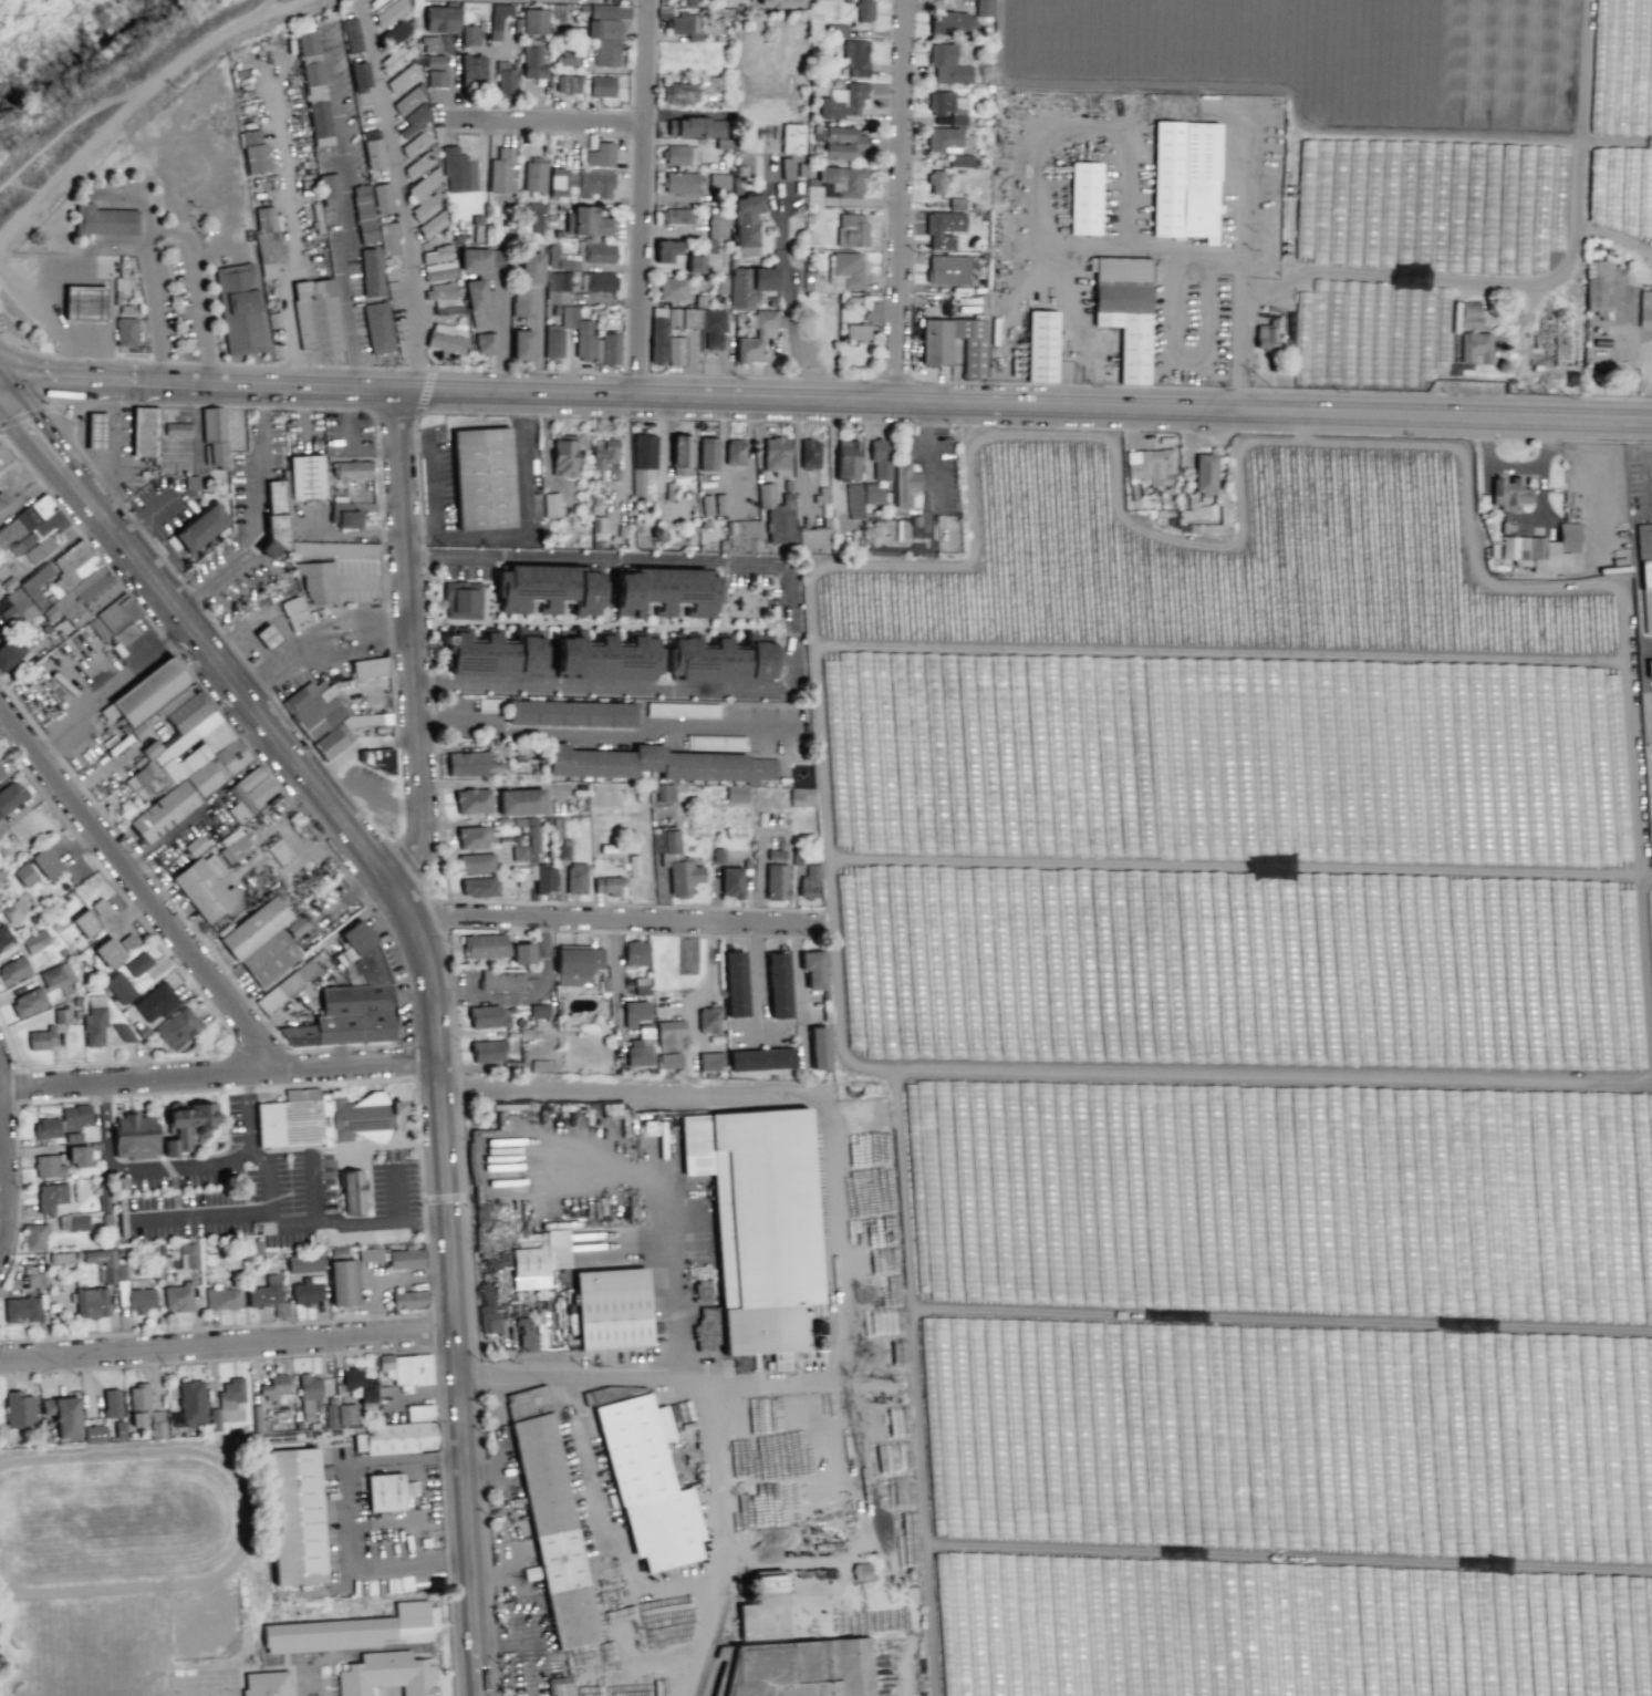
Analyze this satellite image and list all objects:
building: (376, 1)
building: (780, 2)
building: (984, 8)
building: (609, 10)
building: (864, 10)
park: (50, 11)
building: (389, 12)
building: (663, 12)
building: (441, 18)
building: (498, 19)
building: (534, 21)
building: (952, 22)
river: (28, 23)
building: (1622, 25)
building: (396, 32)
building: (352, 34)
building: (470, 34)
building: (605, 40)
building: (429, 43)
park: (3, 56)
building: (855, 56)
building: (397, 58)
building: (565, 58)
building: (533, 59)
building: (435, 61)
building: (947, 64)
building: (472, 70)
building: (360, 75)
building: (402, 77)
building: (436, 77)
building: (505, 80)
building: (568, 83)
building: (600, 86)
building: (709, 86)
building: (314, 87)
building: (678, 93)
building: (407, 101)
building: (844, 102)
building: (948, 106)
road: (536, 115)
crop: (1379, 118)
building: (414, 120)
building: (695, 126)
building: (792, 138)
building: (943, 139)
building: (841, 142)
building: (415, 144)
building: (253, 152)
building: (374, 153)
building: (600, 154)
building: (680, 154)
building: (960, 159)
building: (419, 164)
building: (787, 166)
building: (501, 169)
building: (458, 170)
building: (534, 175)
building: (1184, 178)
building: (718, 182)
building: (935, 182)
building: (679, 183)
building: (579, 184)
building: (736, 184)
building: (835, 184)
building: (329, 185)
building: (426, 195)
road: (636, 196)
building: (382, 198)
road: (402, 198)
building: (1084, 198)
road: (897, 199)
road: (347, 214)
building: (364, 214)
building: (676, 215)
building: (536, 216)
building: (104, 219)
building: (746, 219)
building: (586, 221)
building: (432, 225)
building: (717, 225)
building: (477, 228)
building: (943, 228)
building: (851, 229)
building: (388, 238)
building: (267, 240)
road: (111, 246)
building: (666, 250)
building: (746, 251)
building: (599, 252)
building: (436, 255)
building: (475, 259)
building: (557, 259)
building: (695, 263)
building: (531, 268)
building: (947, 269)
building: (438, 270)
building: (371, 271)
building: (841, 272)
building: (600, 281)
building: (749, 285)
building: (723, 286)
building: (1597, 287)
building: (558, 288)
building: (674, 288)
road: (196, 290)
building: (439, 291)
building: (475, 293)
building: (520, 299)
building: (84, 303)
gas station: (92, 306)
building: (446, 306)
building: (238, 308)
building: (1124, 310)
building: (316, 317)
building: (377, 327)
building: (713, 329)
road: (789, 329)
building: (125, 331)
building: (657, 331)
building: (856, 331)
building: (1265, 334)
building: (756, 337)
building: (935, 341)
building: (553, 342)
building: (485, 343)
building: (521, 344)
building: (1041, 345)
building: (972, 347)
building: (1475, 347)
building: (606, 349)
road: (825, 397)
road: (62, 407)
building: (177, 428)
building: (96, 431)
building: (145, 431)
building: (215, 437)
road: (113, 442)
gas station: (121, 444)
building: (707, 453)
building: (734, 453)
building: (680, 454)
building: (809, 454)
building: (563, 455)
building: (776, 455)
building: (880, 458)
building: (846, 459)
building: (642, 461)
building: (1150, 465)
building: (352, 469)
building: (1205, 473)
building: (305, 476)
building: (482, 478)
building: (190, 483)
building: (905, 484)
building: (1510, 490)
building: (873, 493)
building: (821, 495)
building: (2, 500)
building: (853, 500)
building: (551, 504)
building: (706, 504)
building: (719, 504)
parking lot: (164, 505)
road: (252, 513)
building: (344, 513)
building: (776, 515)
road: (145, 518)
building: (274, 519)
building: (200, 527)
building: (600, 527)
building: (38, 528)
building: (10, 532)
building: (813, 538)
building: (334, 549)
building: (1544, 549)
building: (1645, 573)
building: (315, 580)
building: (548, 589)
building: (665, 591)
building: (463, 599)
building: (81, 600)
building: (14, 608)
building: (295, 612)
building: (112, 617)
road: (791, 625)
road: (198, 632)
building: (267, 635)
road: (415, 643)
building: (10, 652)
building: (492, 653)
building: (609, 655)
building: (718, 660)
building: (368, 666)
building: (1649, 668)
building: (149, 691)
building: (489, 704)
building: (682, 710)
building: (570, 713)
building: (365, 720)
building: (138, 731)
road: (599, 734)
building: (331, 740)
building: (715, 743)
building: (189, 748)
building: (377, 759)
building: (467, 763)
building: (656, 763)
building: (1, 772)
parking lot: (365, 785)
building: (665, 792)
building: (736, 793)
building: (250, 794)
road: (374, 795)
building: (801, 796)
building: (9, 799)
building: (472, 800)
building: (521, 800)
building: (163, 810)
building: (472, 837)
building: (196, 845)
building: (233, 845)
building: (279, 850)
building: (562, 851)
building: (519, 852)
building: (716, 855)
building: (798, 858)
building: (45, 862)
building: (476, 862)
building: (678, 865)
building: (23, 875)
building: (0, 878)
building: (575, 878)
building: (522, 879)
building: (544, 879)
building: (731, 881)
building: (777, 881)
building: (809, 881)
road: (136, 885)
building: (607, 885)
building: (478, 887)
building: (202, 889)
building: (13, 910)
road: (614, 920)
building: (84, 922)
building: (254, 927)
building: (4, 937)
building: (357, 937)
building: (35, 940)
building: (127, 942)
building: (485, 945)
building: (108, 952)
building: (635, 952)
building: (522, 953)
building: (269, 956)
building: (137, 963)
building: (576, 964)
building: (373, 966)
building: (813, 969)
building: (13, 970)
building: (58, 975)
building: (501, 979)
building: (735, 984)
building: (287, 985)
building: (777, 985)
building: (120, 987)
road: (616, 989)
building: (28, 1002)
building: (156, 1002)
building: (539, 1010)
building: (634, 1012)
building: (355, 1013)
building: (61, 1015)
building: (487, 1016)
building: (709, 1018)
building: (94, 1021)
building: (178, 1027)
building: (125, 1032)
building: (299, 1034)
building: (671, 1035)
building: (41, 1038)
building: (819, 1047)
building: (487, 1051)
building: (637, 1053)
building: (761, 1058)
building: (669, 1059)
building: (710, 1061)
building: (541, 1065)
crop: (1256, 1068)
road: (220, 1076)
road: (772, 1090)
building: (75, 1117)
building: (324, 1118)
building: (186, 1126)
building: (45, 1128)
building: (134, 1135)
building: (73, 1137)
building: (79, 1156)
building: (48, 1166)
road: (142, 1167)
road: (2, 1177)
road: (313, 1189)
building: (351, 1192)
building: (103, 1195)
building: (50, 1196)
road: (395, 1196)
road: (201, 1212)
building: (72, 1221)
road: (283, 1223)
building: (761, 1229)
building: (35, 1235)
road: (663, 1245)
building: (368, 1253)
building: (188, 1255)
building: (60, 1258)
building: (406, 1258)
building: (540, 1260)
building: (304, 1263)
building: (106, 1264)
building: (35, 1279)
building: (342, 1279)
road: (457, 1286)
building: (266, 1292)
building: (306, 1292)
building: (177, 1296)
building: (141, 1299)
building: (222, 1299)
building: (408, 1299)
building: (91, 1302)
building: (21, 1310)
building: (613, 1310)
road: (230, 1345)
building: (408, 1371)
road: (658, 1374)
building: (359, 1385)
building: (273, 1386)
building: (230, 1393)
building: (309, 1393)
building: (112, 1403)
building: (190, 1403)
building: (138, 1404)
building: (19, 1409)
building: (419, 1413)
building: (346, 1414)
building: (63, 1415)
building: (214, 1418)
building: (156, 1424)
building: (262, 1424)
building: (115, 1429)
building: (93, 1434)
railway: (724, 1441)
building: (397, 1442)
building: (647, 1482)
road: (715, 1487)
building: (385, 1493)
building: (292, 1518)
track: (120, 1522)
building: (553, 1530)
road: (623, 1560)
building: (361, 1632)
road: (389, 1650)
park: (86, 1651)
building: (800, 1668)
building: (387, 1675)
building: (266, 1684)
park: (200, 1685)
building: (567, 1689)

